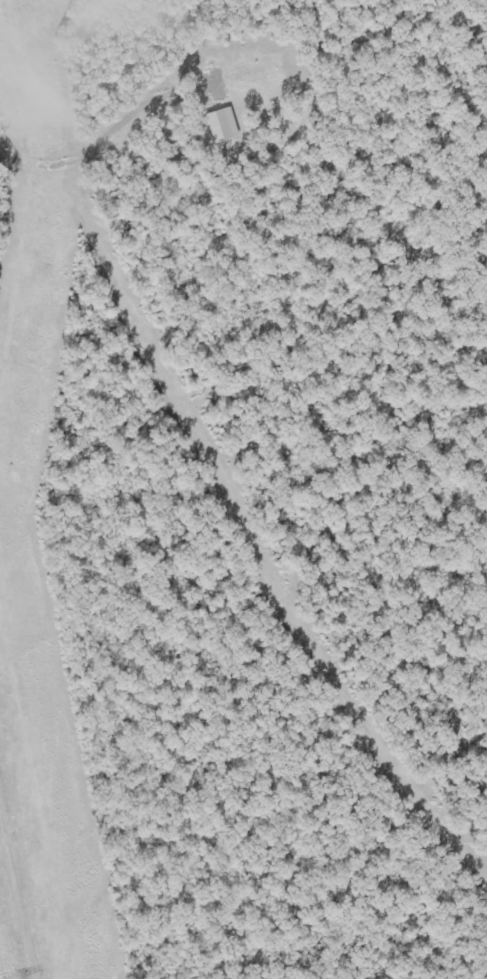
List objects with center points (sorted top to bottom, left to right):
road: (25, 41)
building: (222, 126)
railway: (193, 489)

